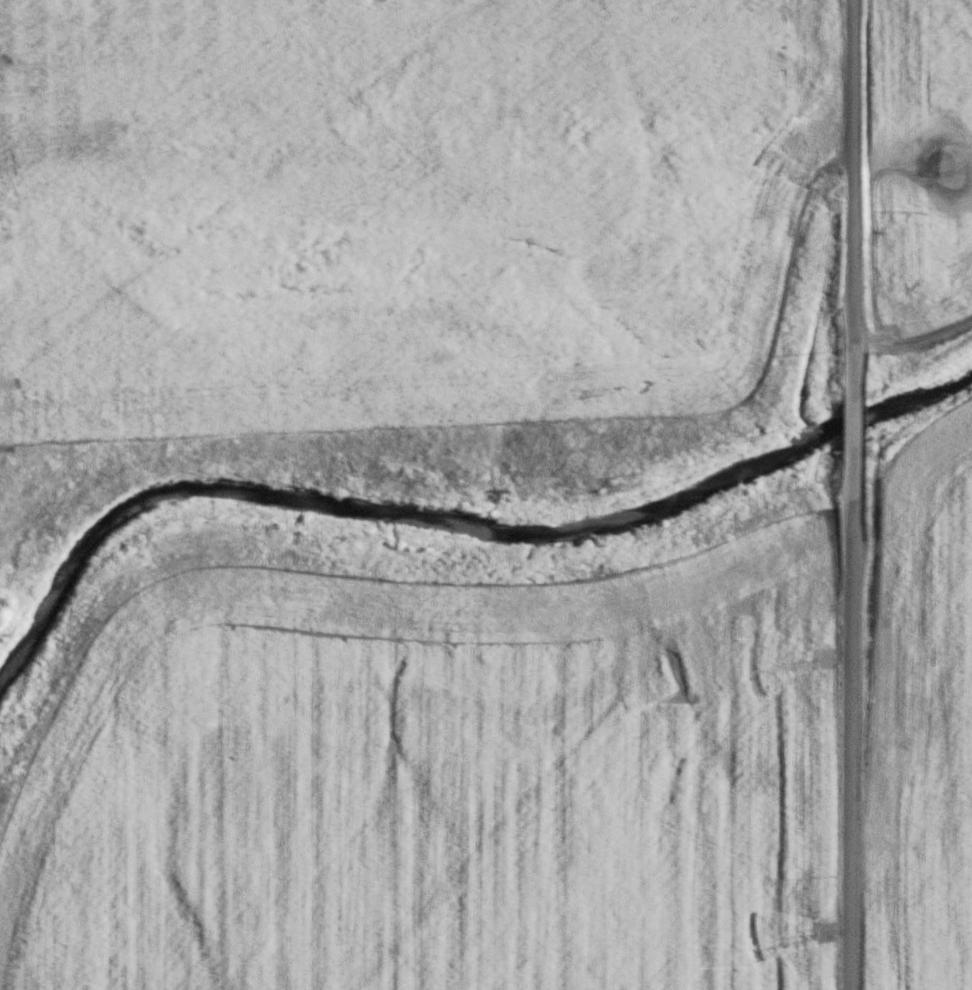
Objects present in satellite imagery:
road: (855, 182)
road: (854, 414)
river: (459, 519)
road: (852, 726)

